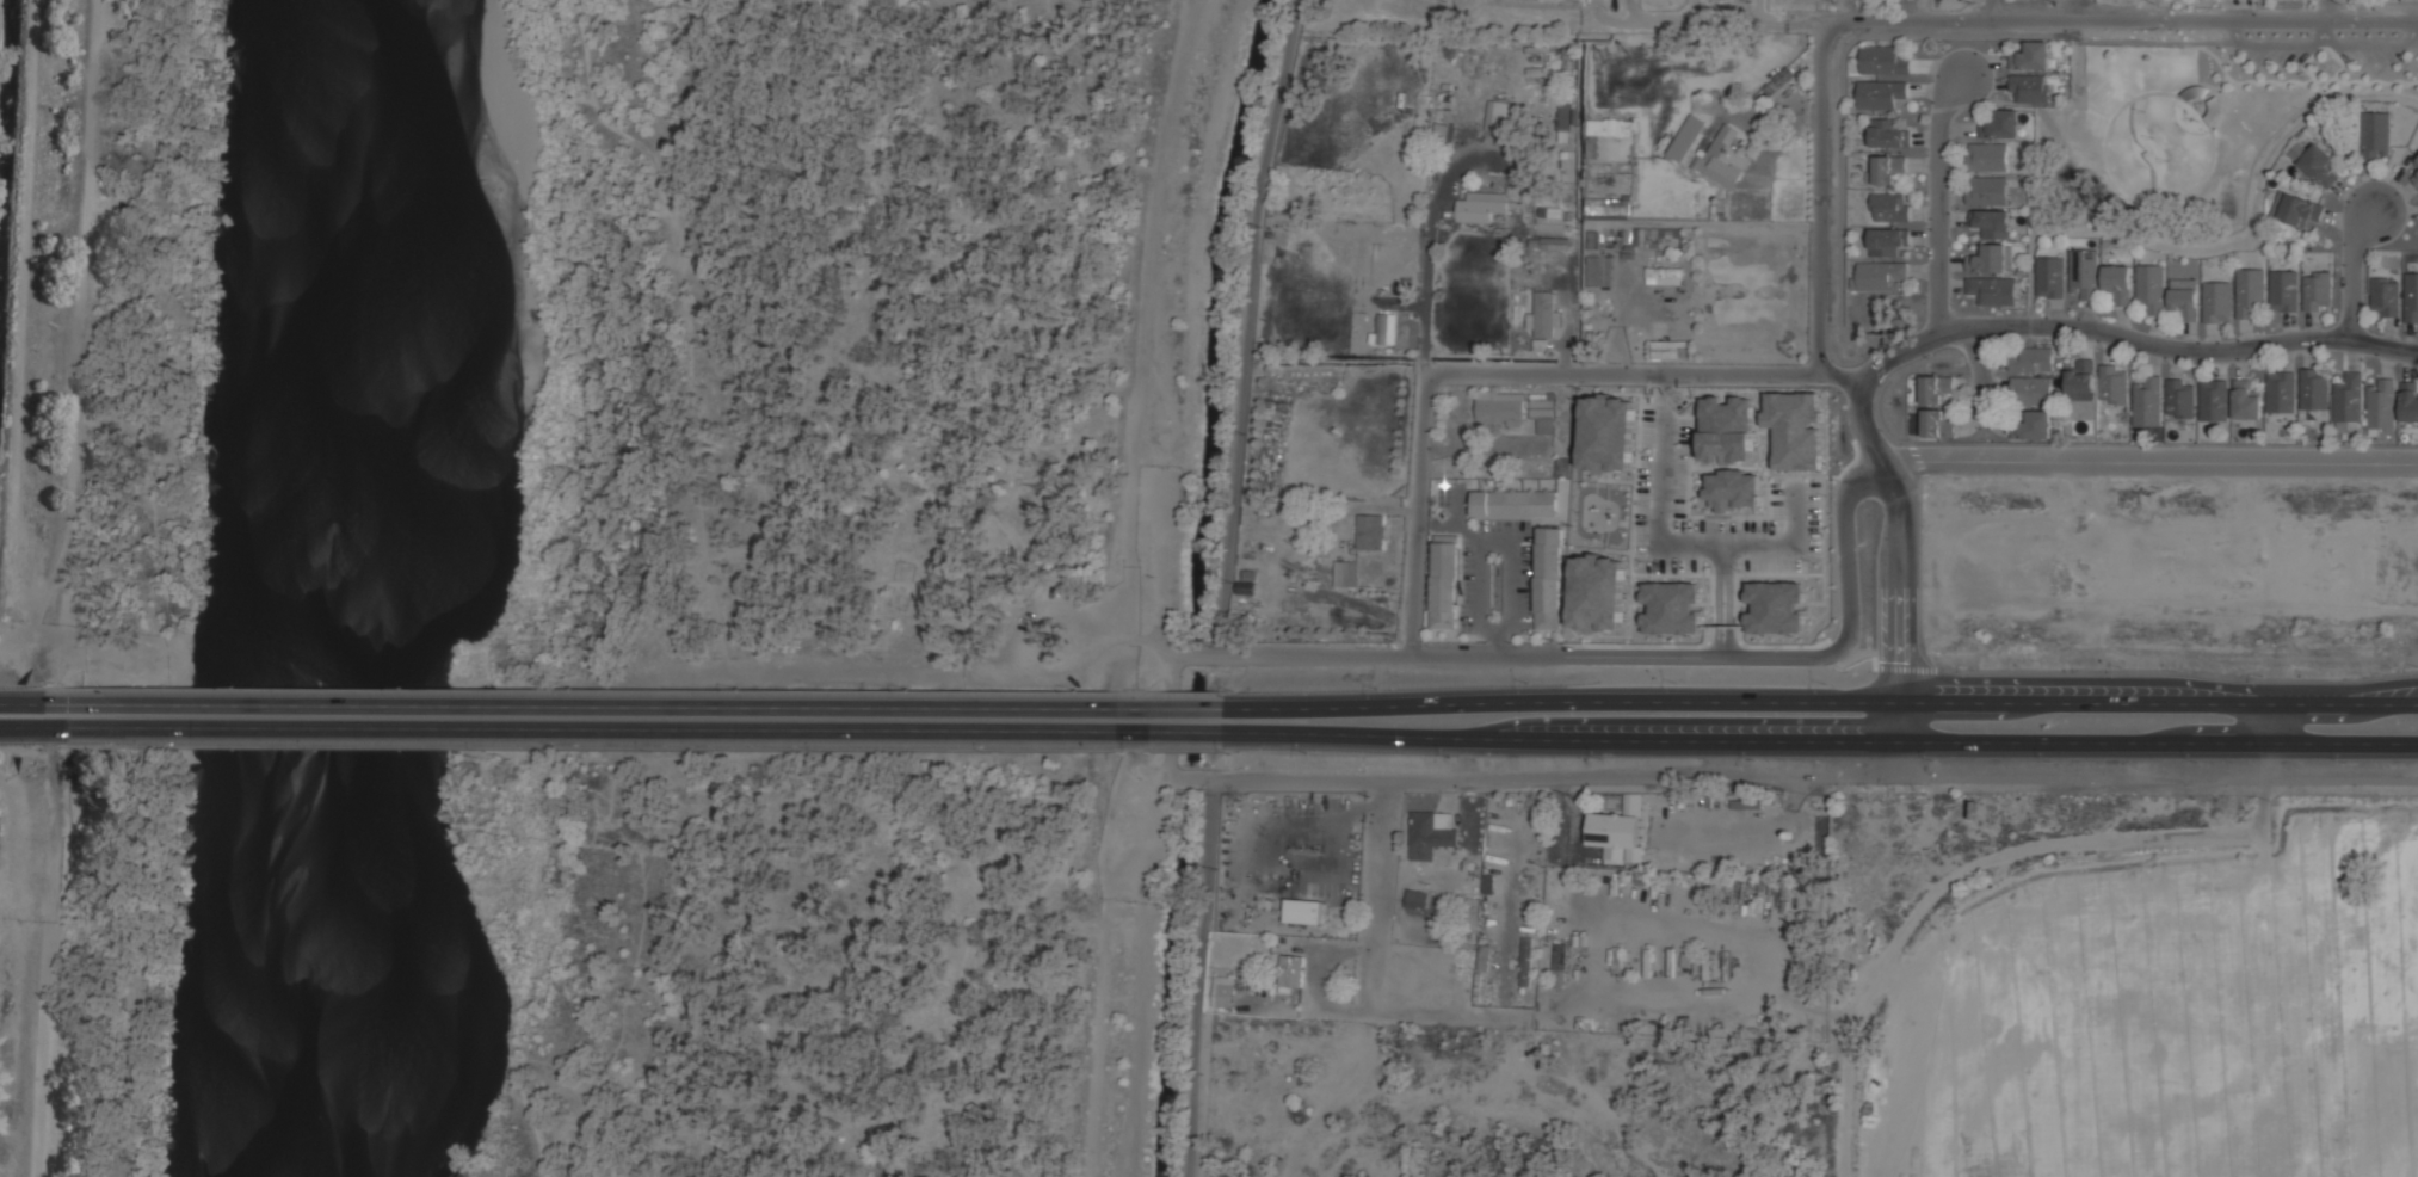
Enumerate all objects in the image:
road: (1987, 8)
road: (2325, 10)
road: (2122, 18)
road: (1714, 21)
road: (2280, 44)
road: (2377, 45)
building: (2033, 55)
building: (1883, 60)
building: (2030, 87)
building: (1880, 94)
building: (1499, 113)
building: (1565, 121)
building: (2000, 124)
building: (1610, 127)
park: (2194, 128)
building: (1888, 131)
building: (1445, 133)
building: (2376, 135)
building: (1686, 137)
road: (1010, 140)
building: (1987, 158)
building: (1723, 159)
building: (2417, 159)
building: (1890, 168)
building: (2414, 177)
building: (1987, 191)
road: (1938, 201)
building: (1481, 205)
building: (1608, 205)
building: (1889, 207)
road: (759, 208)
building: (2296, 208)
building: (1550, 211)
building: (1992, 223)
building: (1658, 233)
building: (1888, 240)
building: (1555, 242)
road: (1429, 258)
building: (1992, 258)
building: (1599, 269)
road: (2352, 269)
road: (958, 270)
building: (2084, 273)
building: (1665, 275)
building: (1880, 275)
road: (2033, 277)
building: (2049, 277)
building: (2118, 284)
building: (1993, 289)
building: (2152, 289)
building: (2250, 289)
building: (2284, 290)
building: (2318, 290)
building: (2412, 296)
building: (2386, 298)
building: (2217, 301)
building: (2185, 303)
building: (1544, 313)
road: (1149, 323)
road: (1567, 325)
road: (2086, 327)
building: (1384, 329)
building: (1671, 347)
building: (2031, 361)
road: (1982, 363)
road: (1659, 377)
road: (1840, 378)
road: (742, 381)
building: (2080, 381)
building: (2114, 384)
building: (1936, 389)
building: (2314, 389)
building: (2031, 392)
building: (2281, 393)
road: (166, 396)
building: (2180, 399)
building: (2349, 399)
building: (2214, 400)
building: (2245, 401)
building: (2410, 401)
building: (2148, 402)
building: (2381, 405)
building: (1501, 406)
building: (1543, 409)
building: (1739, 419)
building: (1937, 423)
building: (2034, 425)
building: (1790, 426)
road: (1241, 427)
building: (1616, 440)
road: (2149, 460)
building: (1732, 489)
building: (1516, 501)
building: (1373, 532)
road: (1673, 543)
road: (744, 551)
building: (1344, 572)
building: (1549, 577)
building: (1445, 580)
building: (1246, 587)
river: (350, 588)
building: (1597, 593)
road: (1716, 599)
road: (1728, 599)
road: (1904, 602)
building: (1672, 604)
building: (1775, 606)
building: (1707, 616)
road: (1085, 626)
road: (723, 645)
road: (1158, 646)
road: (1631, 657)
road: (1824, 698)
road: (24, 701)
road: (640, 702)
road: (2266, 721)
road: (24, 728)
road: (639, 729)
road: (1822, 738)
road: (1901, 757)
road: (1556, 776)
road: (2159, 777)
building: (1618, 828)
building: (1432, 831)
road: (1380, 894)
building: (1417, 896)
building: (1303, 910)
road: (979, 912)
building: (1484, 957)
building: (1560, 962)
building: (1531, 965)
road: (1111, 969)
building: (1290, 972)
road: (1197, 976)
building: (1225, 990)
crop: (2164, 1013)

